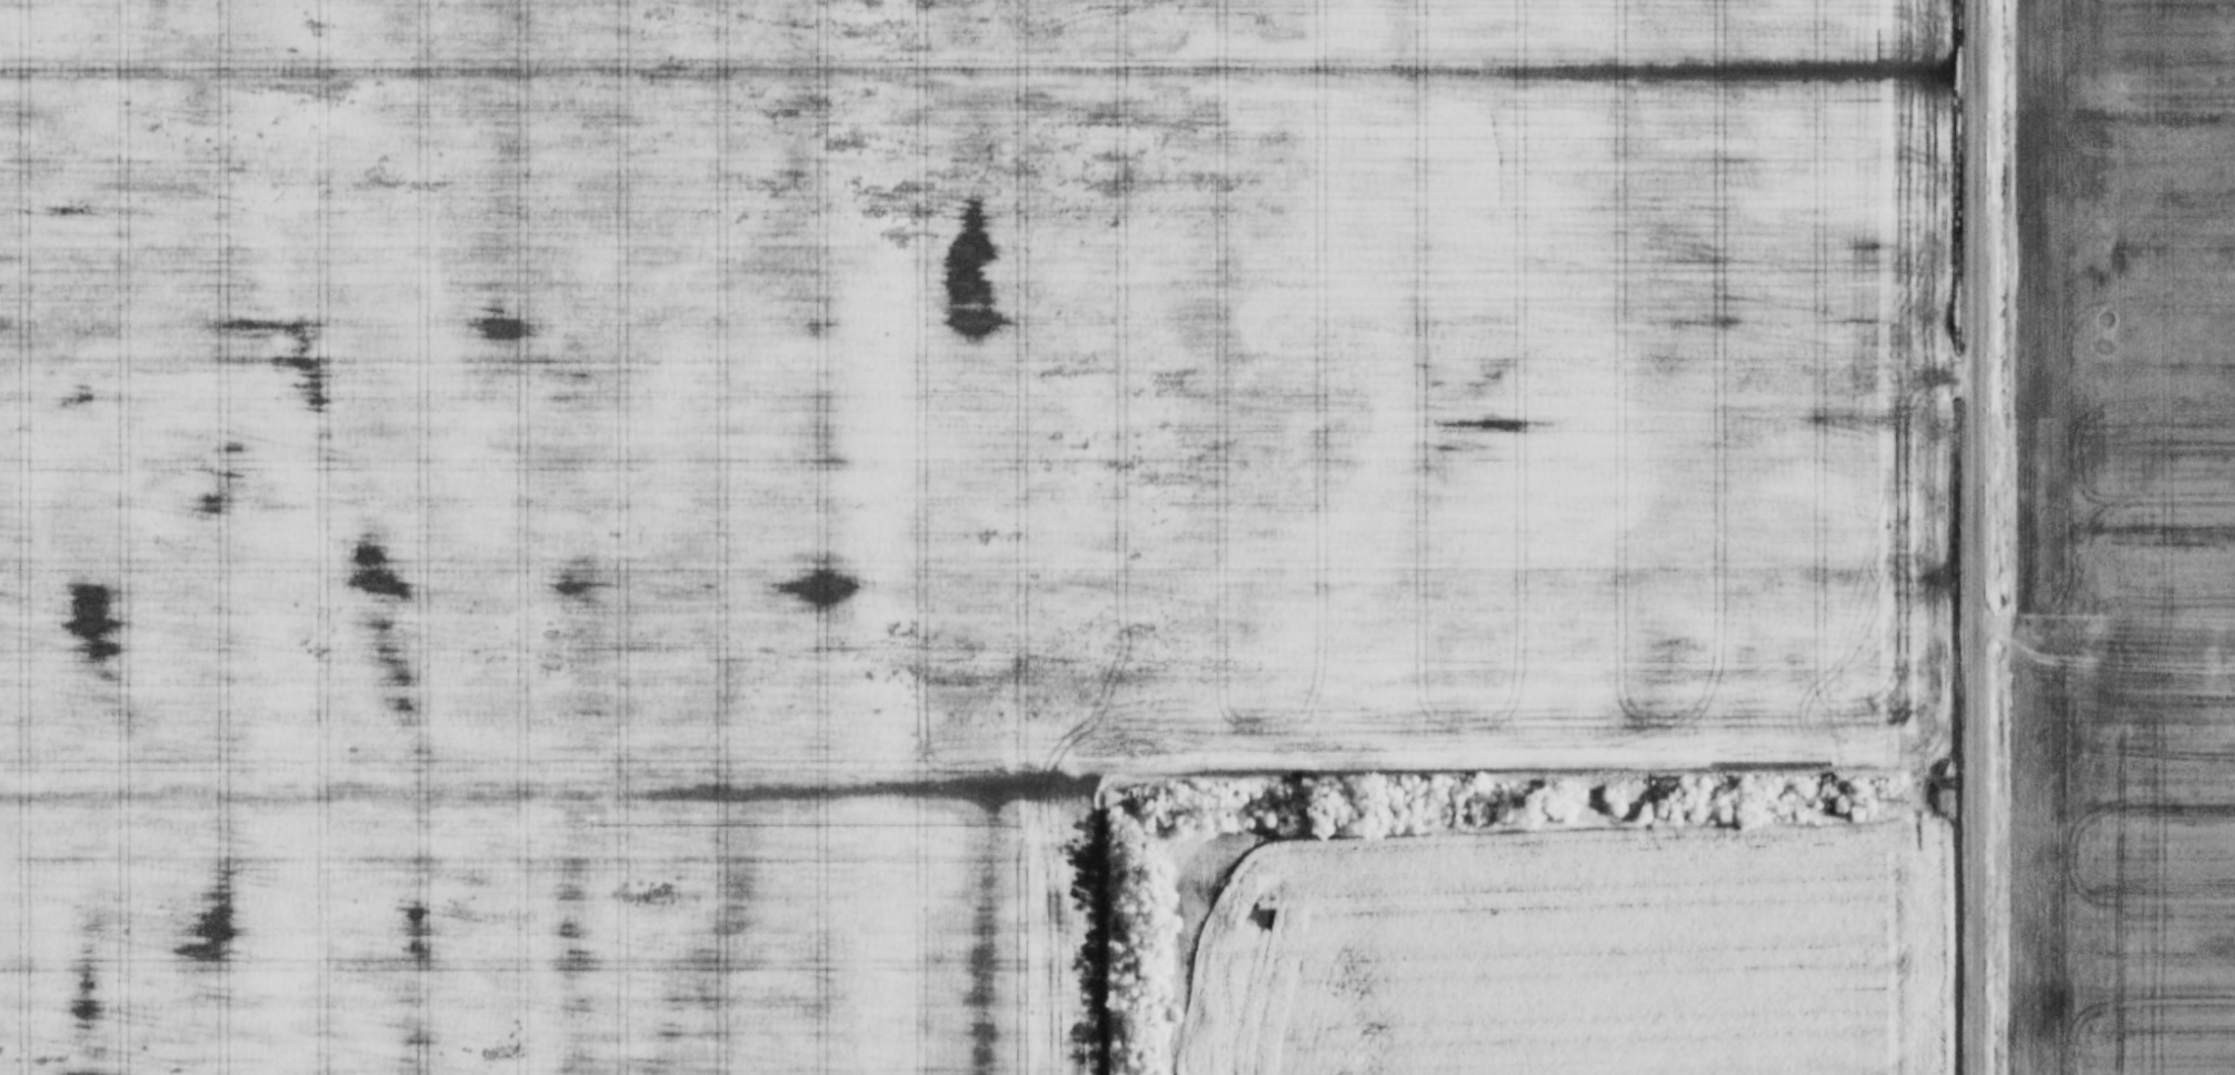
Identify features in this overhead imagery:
road: (1983, 537)

